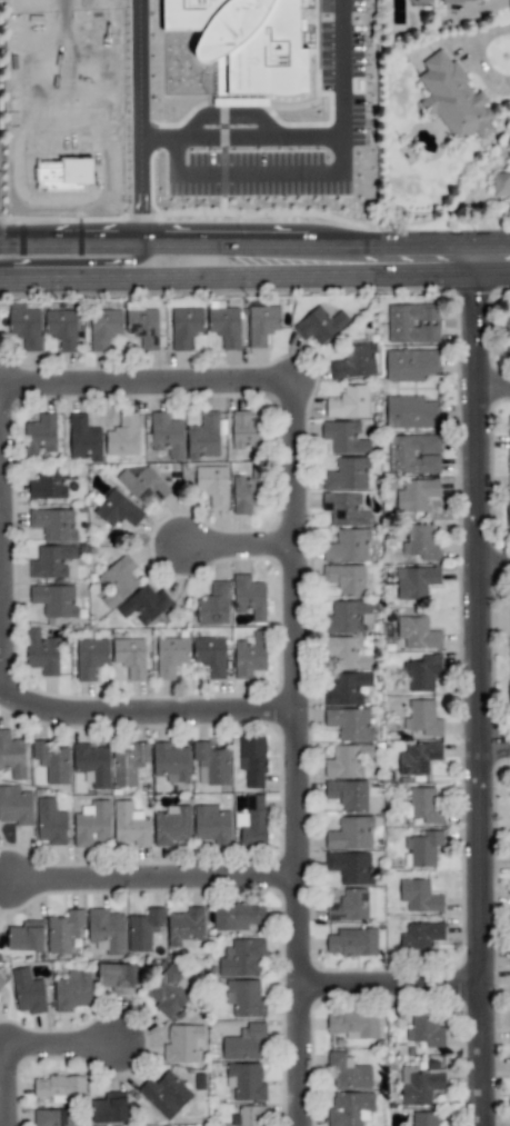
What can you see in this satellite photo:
building: (440, 0)
building: (246, 42)
road: (138, 70)
building: (452, 98)
road: (259, 138)
building: (508, 147)
road: (310, 177)
building: (501, 185)
road: (139, 192)
road: (131, 245)
road: (76, 262)
road: (386, 262)
road: (130, 272)
building: (261, 323)
building: (412, 323)
building: (319, 325)
building: (24, 326)
building: (224, 326)
building: (184, 327)
building: (103, 328)
building: (144, 328)
building: (62, 329)
building: (508, 330)
building: (354, 361)
building: (410, 365)
road: (151, 379)
road: (494, 381)
building: (348, 403)
building: (410, 412)
building: (244, 430)
building: (167, 435)
building: (40, 436)
building: (122, 436)
building: (203, 437)
building: (343, 437)
building: (83, 439)
building: (508, 442)
building: (413, 455)
building: (347, 475)
building: (50, 484)
building: (143, 484)
building: (212, 485)
building: (246, 492)
building: (416, 495)
building: (117, 509)
building: (344, 509)
building: (508, 516)
building: (53, 524)
road: (6, 541)
building: (421, 541)
road: (242, 544)
building: (347, 546)
building: (51, 561)
road: (496, 561)
building: (346, 579)
building: (117, 580)
building: (414, 581)
building: (249, 598)
building: (53, 600)
building: (144, 604)
building: (213, 605)
building: (509, 611)
building: (346, 617)
building: (417, 634)
building: (41, 652)
building: (346, 652)
building: (249, 655)
building: (170, 656)
building: (210, 656)
building: (89, 657)
building: (130, 657)
building: (421, 672)
building: (347, 689)
road: (481, 694)
building: (508, 696)
road: (148, 711)
building: (423, 719)
building: (349, 724)
road: (496, 744)
building: (12, 756)
road: (300, 756)
building: (418, 758)
building: (252, 760)
building: (348, 760)
building: (52, 763)
building: (170, 763)
building: (92, 765)
building: (129, 765)
building: (211, 765)
building: (348, 795)
building: (16, 806)
building: (424, 806)
building: (49, 823)
building: (250, 823)
building: (91, 824)
building: (130, 825)
building: (211, 825)
building: (171, 826)
building: (350, 834)
building: (422, 848)
building: (350, 867)
road: (153, 878)
building: (419, 896)
building: (348, 906)
building: (237, 916)
building: (186, 927)
building: (143, 929)
building: (63, 930)
building: (106, 930)
building: (26, 936)
building: (420, 937)
building: (352, 943)
building: (241, 958)
building: (118, 977)
building: (0, 980)
road: (392, 985)
building: (28, 992)
building: (72, 992)
building: (168, 992)
building: (244, 998)
building: (354, 1025)
building: (424, 1030)
building: (243, 1043)
building: (182, 1044)
road: (29, 1048)
building: (348, 1072)
building: (244, 1082)
building: (420, 1084)
building: (60, 1088)
building: (164, 1094)
building: (109, 1108)
building: (349, 1109)
building: (247, 1116)
building: (52, 1118)
building: (423, 1118)

